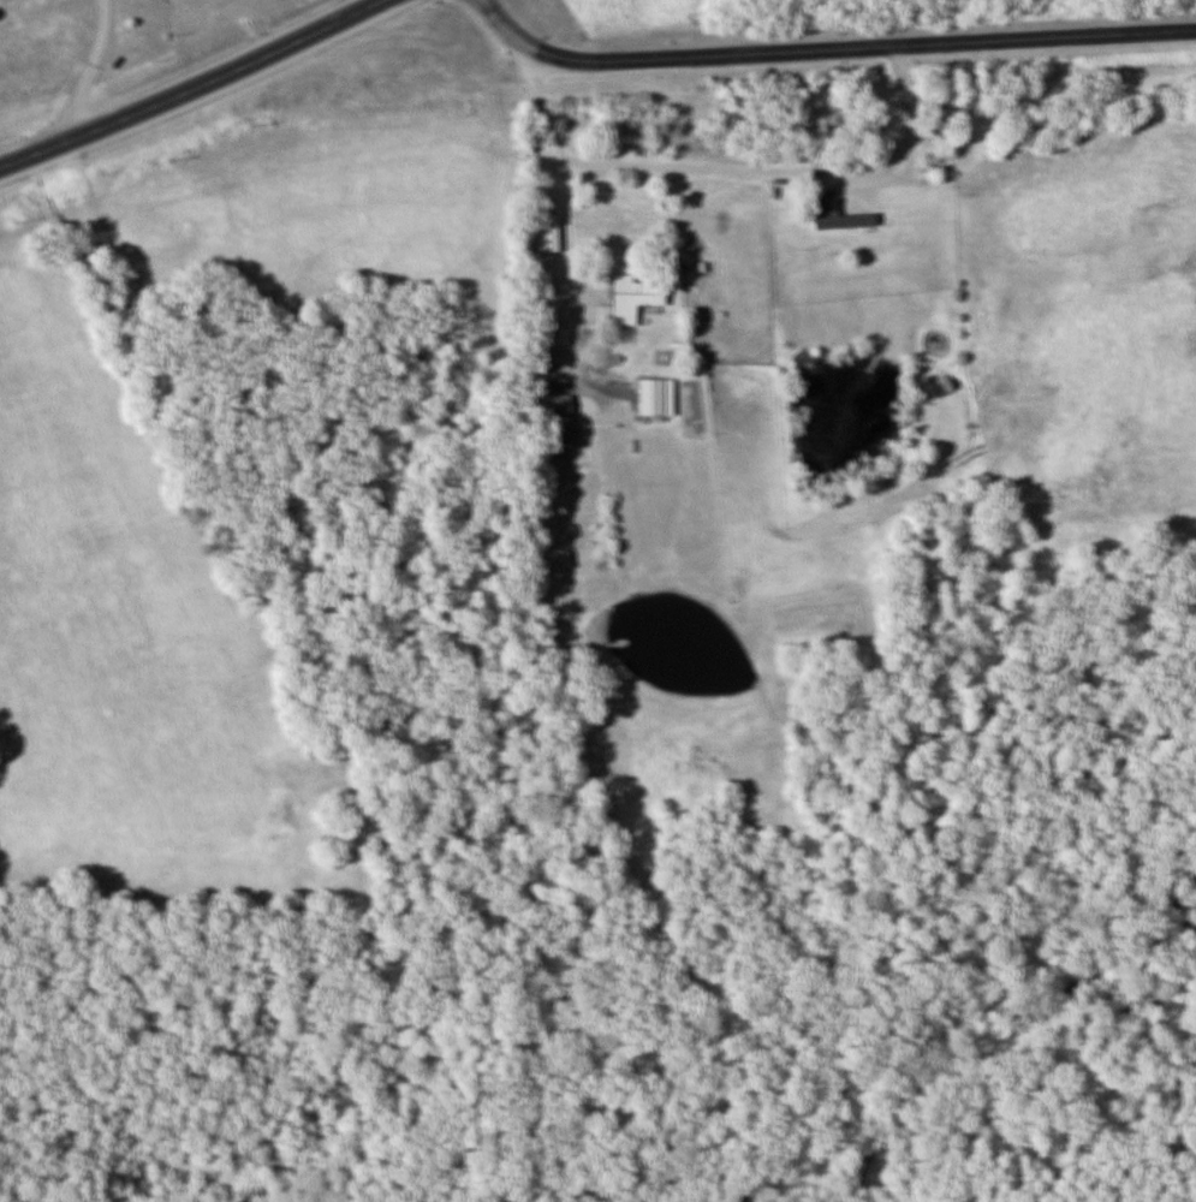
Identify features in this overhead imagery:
road: (828, 47)
road: (79, 73)
road: (195, 90)
road: (726, 178)
building: (840, 220)
road: (559, 239)
building: (626, 299)
building: (644, 397)
building: (551, 405)

